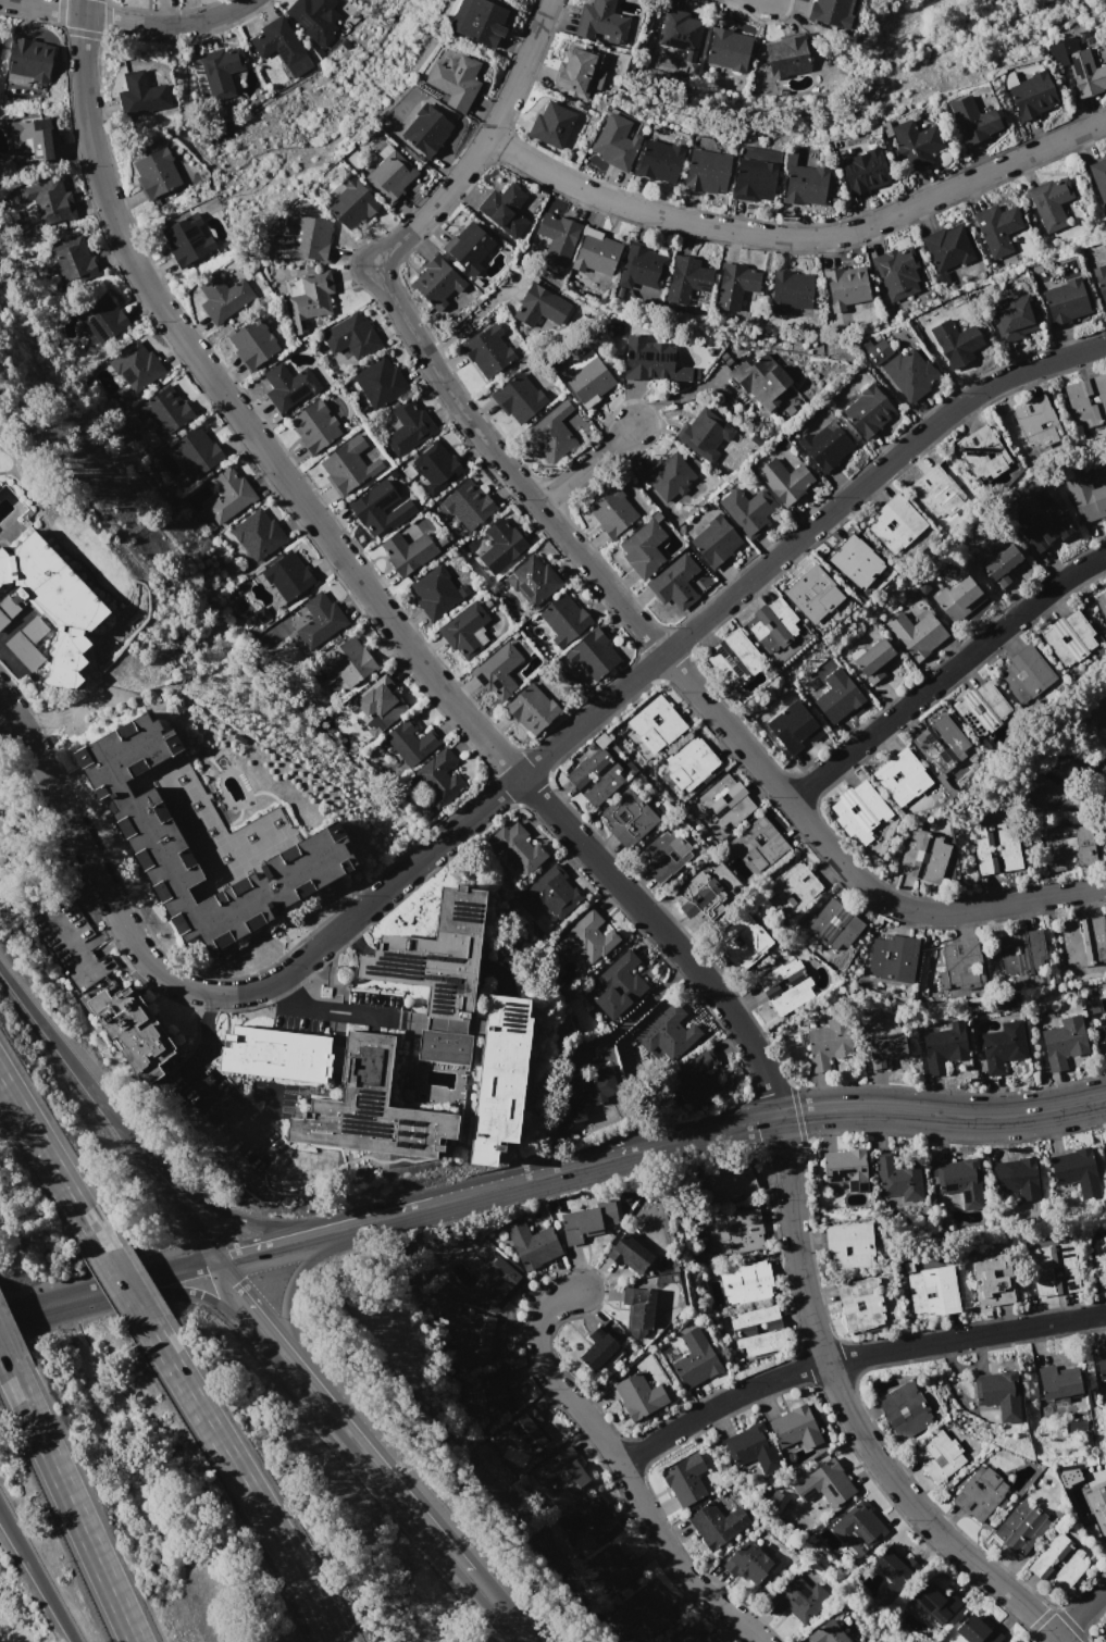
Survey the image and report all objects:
building: (357, 0)
building: (824, 9)
building: (314, 16)
building: (600, 17)
building: (477, 21)
road: (123, 23)
building: (679, 26)
building: (278, 41)
building: (728, 42)
park: (957, 46)
building: (785, 49)
building: (27, 59)
building: (576, 66)
building: (219, 69)
building: (1085, 74)
building: (452, 77)
building: (142, 95)
building: (1030, 96)
building: (971, 119)
building: (552, 120)
building: (425, 129)
building: (616, 135)
building: (30, 138)
building: (914, 140)
road: (477, 142)
building: (658, 153)
building: (706, 164)
building: (862, 170)
building: (388, 175)
building: (753, 175)
building: (154, 176)
building: (1098, 176)
building: (805, 182)
building: (1048, 199)
building: (45, 200)
building: (502, 200)
building: (349, 203)
building: (994, 222)
building: (558, 226)
road: (797, 228)
building: (302, 239)
building: (468, 240)
building: (596, 241)
building: (944, 241)
building: (187, 245)
building: (641, 254)
building: (71, 260)
building: (895, 264)
building: (685, 269)
building: (734, 273)
building: (435, 277)
building: (844, 278)
building: (790, 279)
building: (1101, 283)
building: (537, 298)
building: (309, 299)
building: (1064, 299)
building: (222, 302)
building: (101, 316)
building: (1007, 318)
road: (469, 321)
building: (953, 336)
building: (348, 338)
building: (873, 344)
building: (486, 345)
building: (646, 349)
building: (252, 351)
building: (136, 362)
building: (908, 363)
building: (759, 369)
building: (582, 370)
building: (378, 382)
building: (286, 388)
building: (514, 390)
road: (672, 396)
building: (1088, 400)
building: (165, 413)
road: (238, 416)
building: (870, 418)
road: (467, 420)
building: (1036, 421)
building: (313, 428)
building: (406, 428)
building: (549, 435)
building: (703, 439)
building: (195, 452)
building: (828, 452)
building: (981, 453)
building: (345, 464)
building: (434, 464)
road: (587, 471)
building: (668, 481)
building: (783, 486)
building: (937, 492)
building: (226, 494)
building: (1086, 498)
building: (371, 507)
building: (469, 507)
building: (611, 514)
building: (746, 515)
building: (896, 523)
building: (1044, 526)
building: (257, 533)
building: (714, 546)
building: (501, 548)
building: (405, 552)
building: (643, 552)
building: (857, 561)
building: (1003, 567)
building: (285, 575)
building: (534, 580)
building: (675, 583)
building: (707, 590)
building: (433, 593)
building: (813, 594)
building: (959, 598)
building: (58, 601)
building: (1102, 604)
building: (8, 609)
building: (319, 619)
building: (566, 621)
building: (771, 624)
road: (11, 627)
building: (463, 630)
building: (917, 634)
building: (1070, 637)
building: (29, 640)
building: (594, 655)
building: (734, 659)
building: (875, 660)
road: (9, 662)
building: (350, 663)
road: (650, 667)
building: (498, 672)
building: (1026, 674)
road: (945, 680)
building: (806, 686)
building: (838, 695)
building: (380, 700)
building: (982, 708)
building: (533, 709)
building: (1099, 714)
building: (656, 724)
building: (794, 726)
building: (411, 743)
building: (941, 743)
building: (691, 763)
building: (597, 774)
building: (439, 775)
building: (902, 776)
building: (1048, 786)
building: (725, 803)
building: (859, 812)
building: (629, 818)
road: (804, 822)
building: (157, 842)
building: (758, 845)
building: (1069, 847)
building: (517, 848)
building: (996, 849)
building: (664, 856)
building: (923, 856)
road: (87, 858)
building: (793, 890)
building: (551, 893)
building: (701, 898)
building: (834, 924)
building: (588, 938)
building: (1084, 941)
building: (743, 942)
building: (71, 943)
building: (442, 955)
building: (1023, 955)
building: (894, 958)
building: (960, 967)
building: (620, 986)
building: (785, 986)
road: (281, 993)
road: (343, 1009)
road: (637, 1010)
road: (203, 1021)
building: (1105, 1029)
building: (137, 1032)
building: (671, 1032)
building: (1065, 1042)
building: (829, 1043)
road: (61, 1046)
building: (945, 1046)
building: (1003, 1046)
building: (449, 1047)
building: (886, 1050)
building: (279, 1054)
building: (699, 1078)
building: (507, 1079)
building: (592, 1084)
road: (218, 1104)
building: (378, 1109)
road: (266, 1112)
road: (758, 1120)
building: (1105, 1143)
road: (51, 1165)
building: (846, 1169)
building: (1077, 1171)
building: (1017, 1178)
building: (898, 1179)
building: (724, 1181)
building: (959, 1181)
road: (171, 1195)
road: (790, 1211)
road: (225, 1212)
road: (388, 1217)
building: (581, 1224)
building: (737, 1232)
road: (289, 1244)
building: (532, 1244)
building: (849, 1244)
building: (630, 1253)
building: (1099, 1259)
road: (302, 1270)
building: (1054, 1270)
building: (993, 1280)
building: (746, 1281)
road: (124, 1284)
building: (496, 1286)
building: (933, 1291)
road: (110, 1292)
building: (860, 1304)
building: (639, 1307)
building: (758, 1330)
road: (265, 1331)
building: (483, 1341)
building: (599, 1349)
road: (2, 1354)
road: (852, 1356)
building: (695, 1358)
building: (1101, 1364)
building: (1058, 1382)
building: (496, 1390)
building: (999, 1394)
building: (638, 1396)
building: (905, 1409)
building: (795, 1428)
building: (531, 1432)
building: (753, 1447)
building: (939, 1455)
road: (621, 1466)
building: (564, 1470)
building: (1068, 1476)
road: (241, 1479)
building: (685, 1479)
building: (824, 1483)
building: (980, 1493)
road: (69, 1501)
building: (1097, 1507)
road: (422, 1518)
building: (594, 1520)
building: (717, 1523)
building: (859, 1528)
building: (1021, 1528)
building: (747, 1563)
building: (1058, 1564)
building: (618, 1565)
building: (893, 1571)
road: (37, 1577)
building: (798, 1600)
building: (935, 1603)
road: (1080, 1610)
building: (641, 1616)
park: (1097, 1629)
building: (977, 1631)
building: (827, 1633)
building: (688, 1635)

